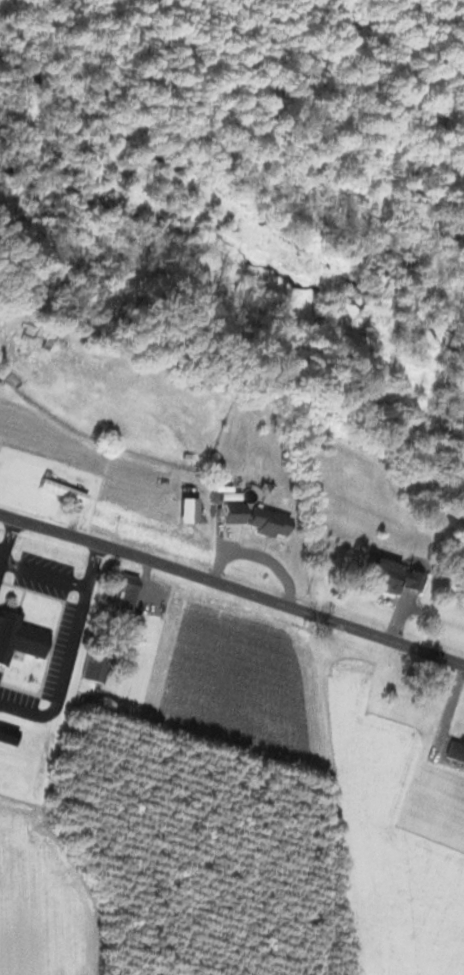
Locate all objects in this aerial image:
building: (64, 490)
building: (255, 519)
building: (384, 576)
building: (126, 590)
road: (232, 591)
building: (20, 637)
building: (93, 668)

